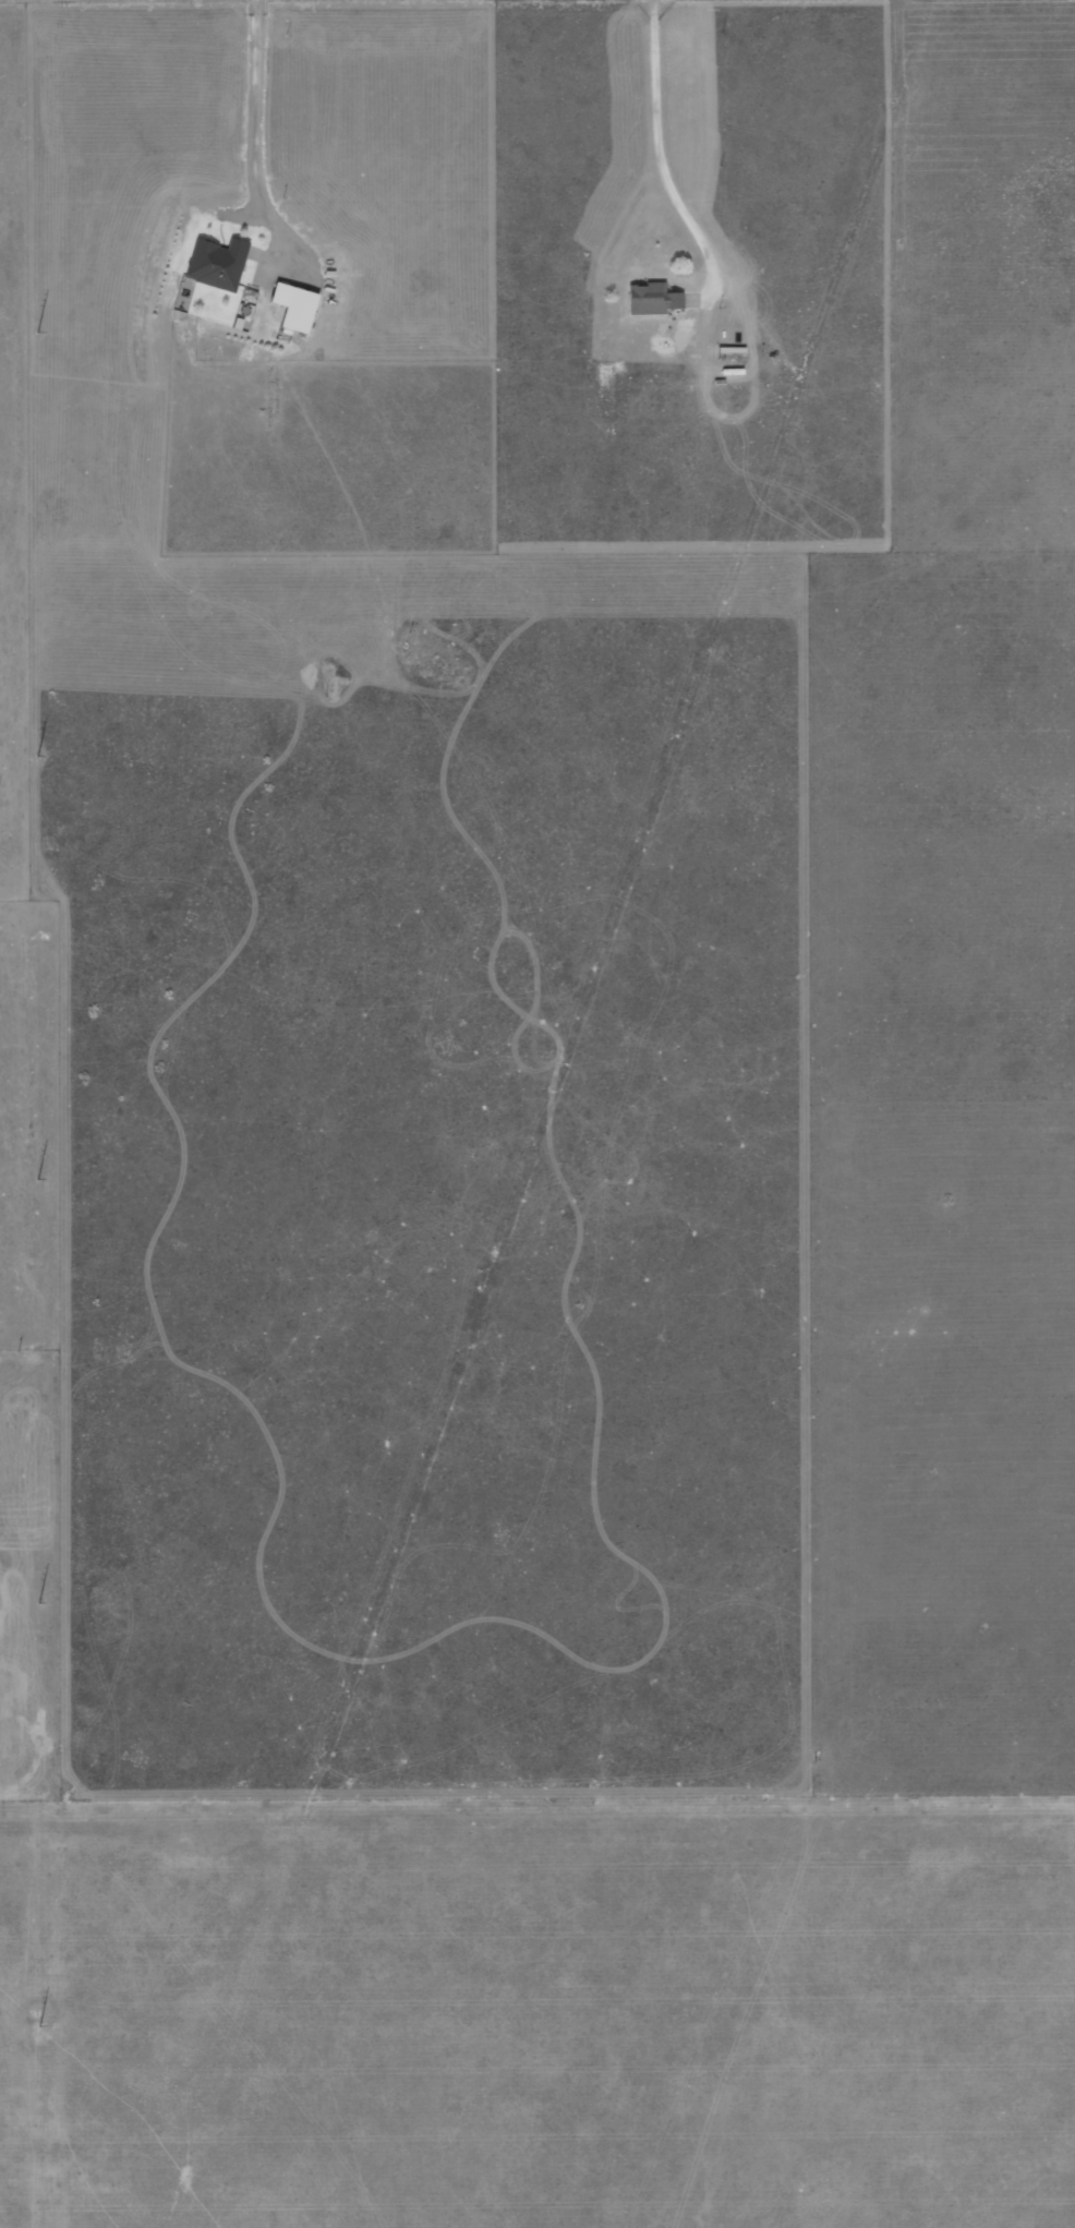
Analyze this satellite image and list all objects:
road: (253, 145)
road: (656, 159)
building: (217, 262)
building: (650, 300)
building: (297, 311)

